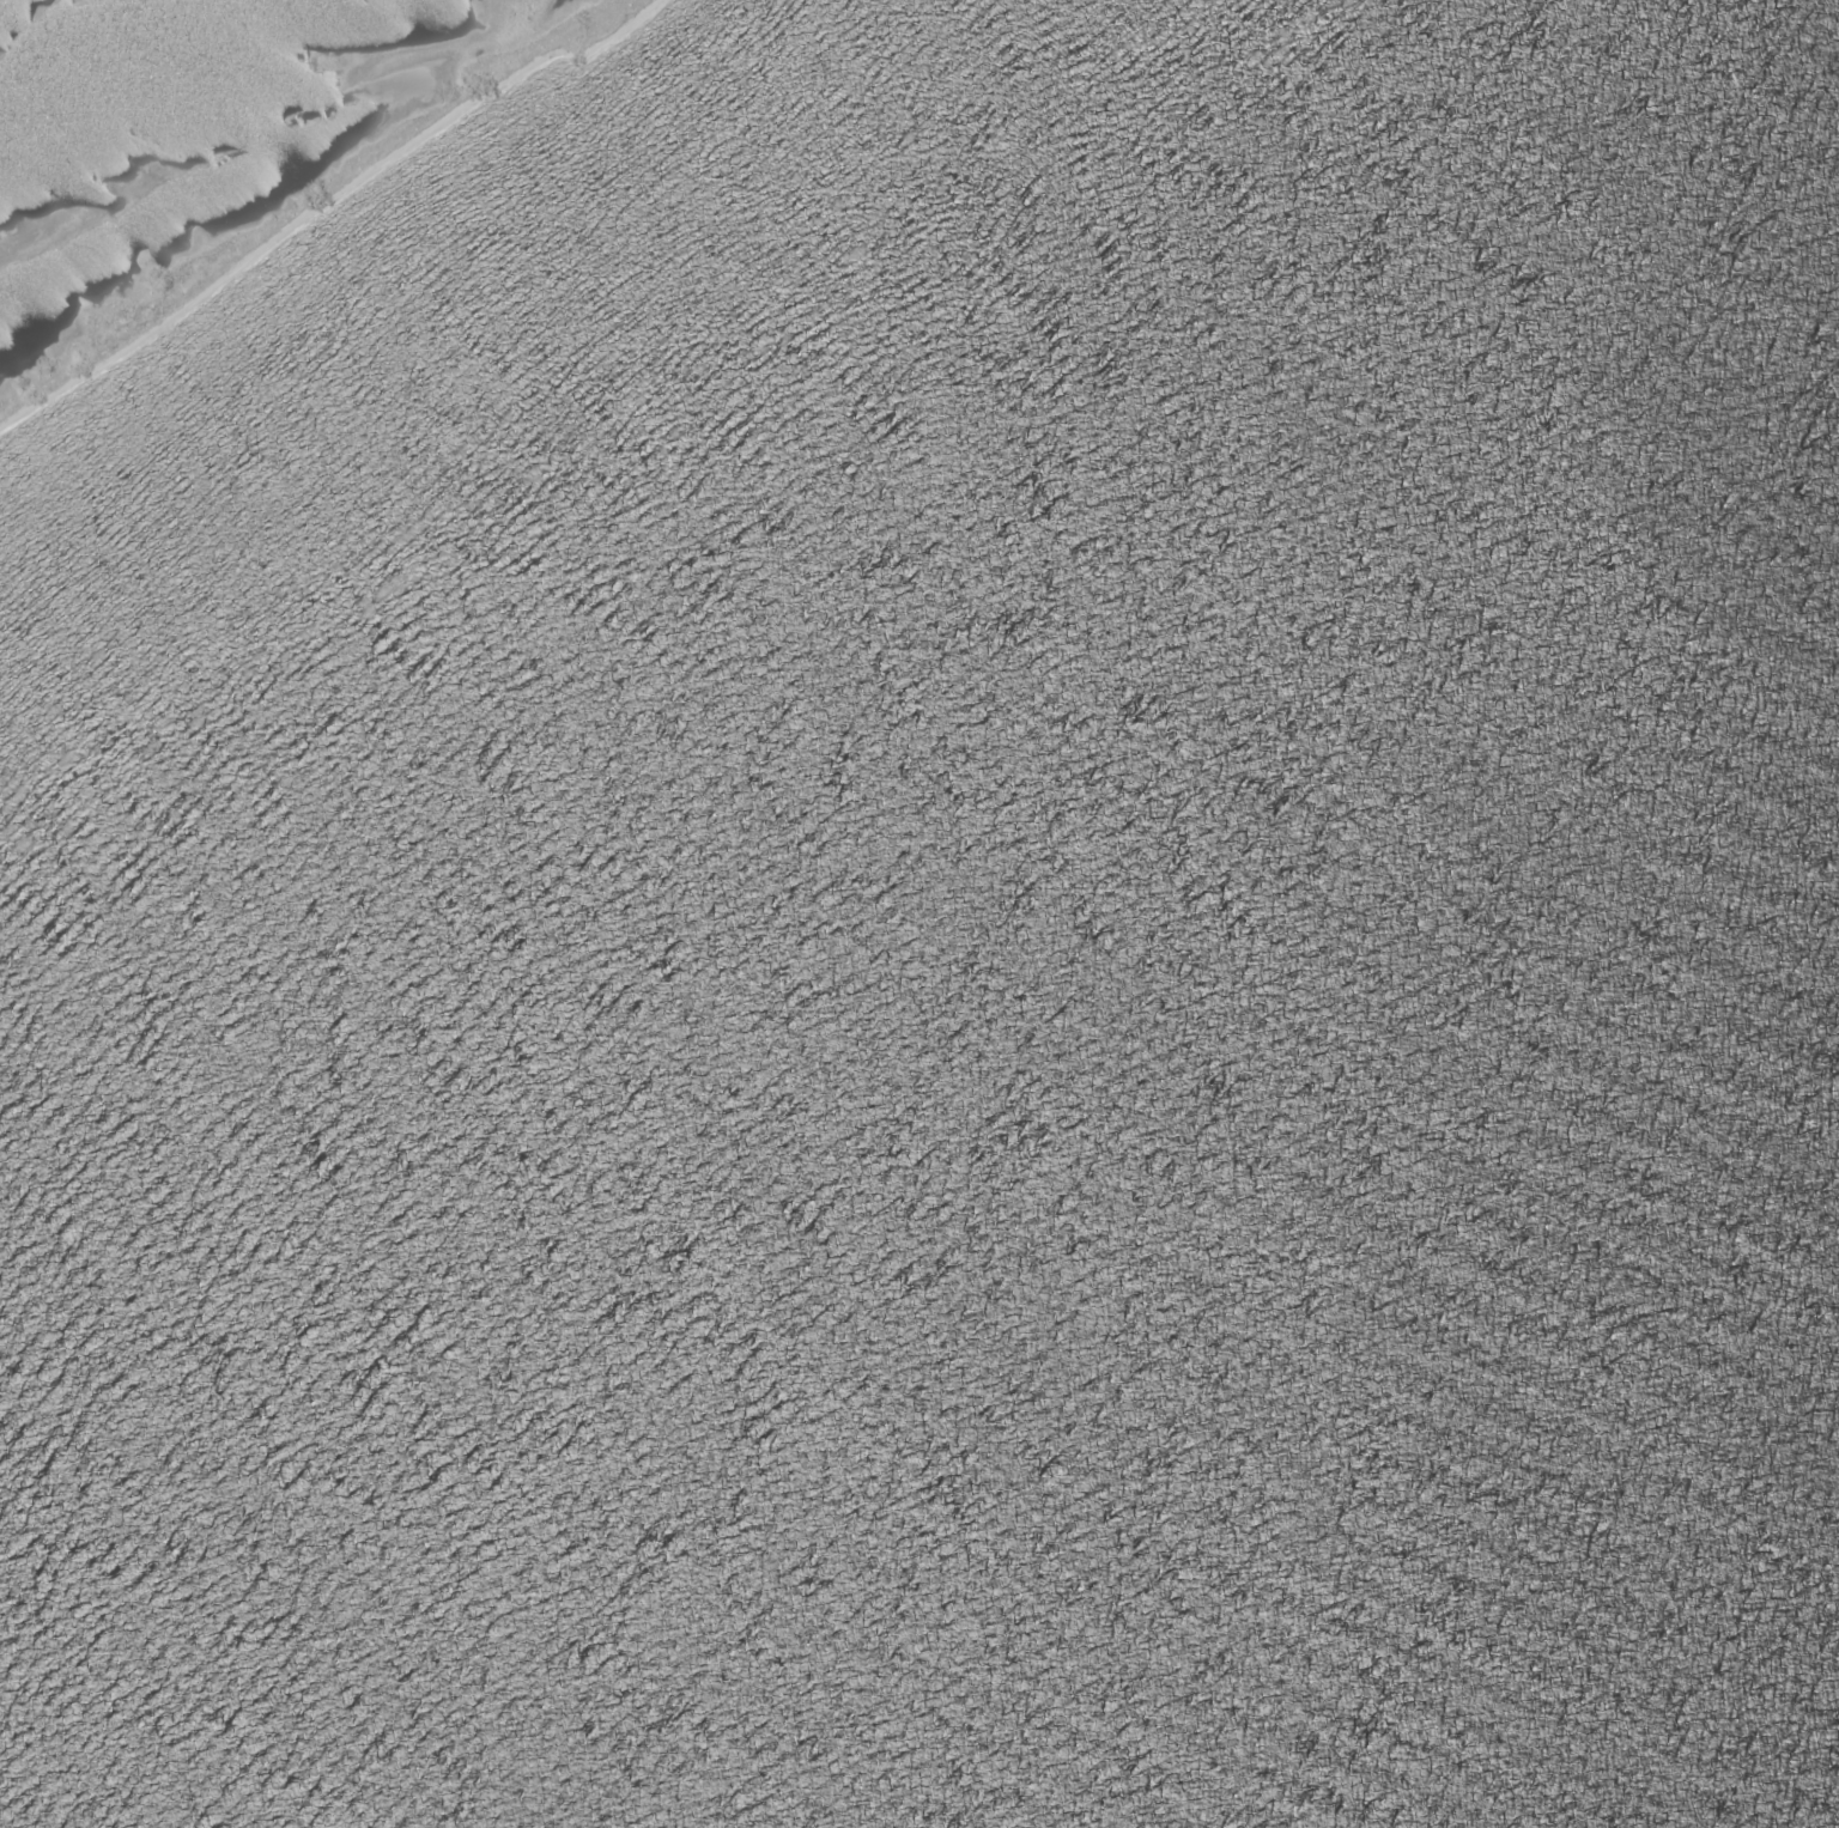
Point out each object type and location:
railway: (5, 402)

